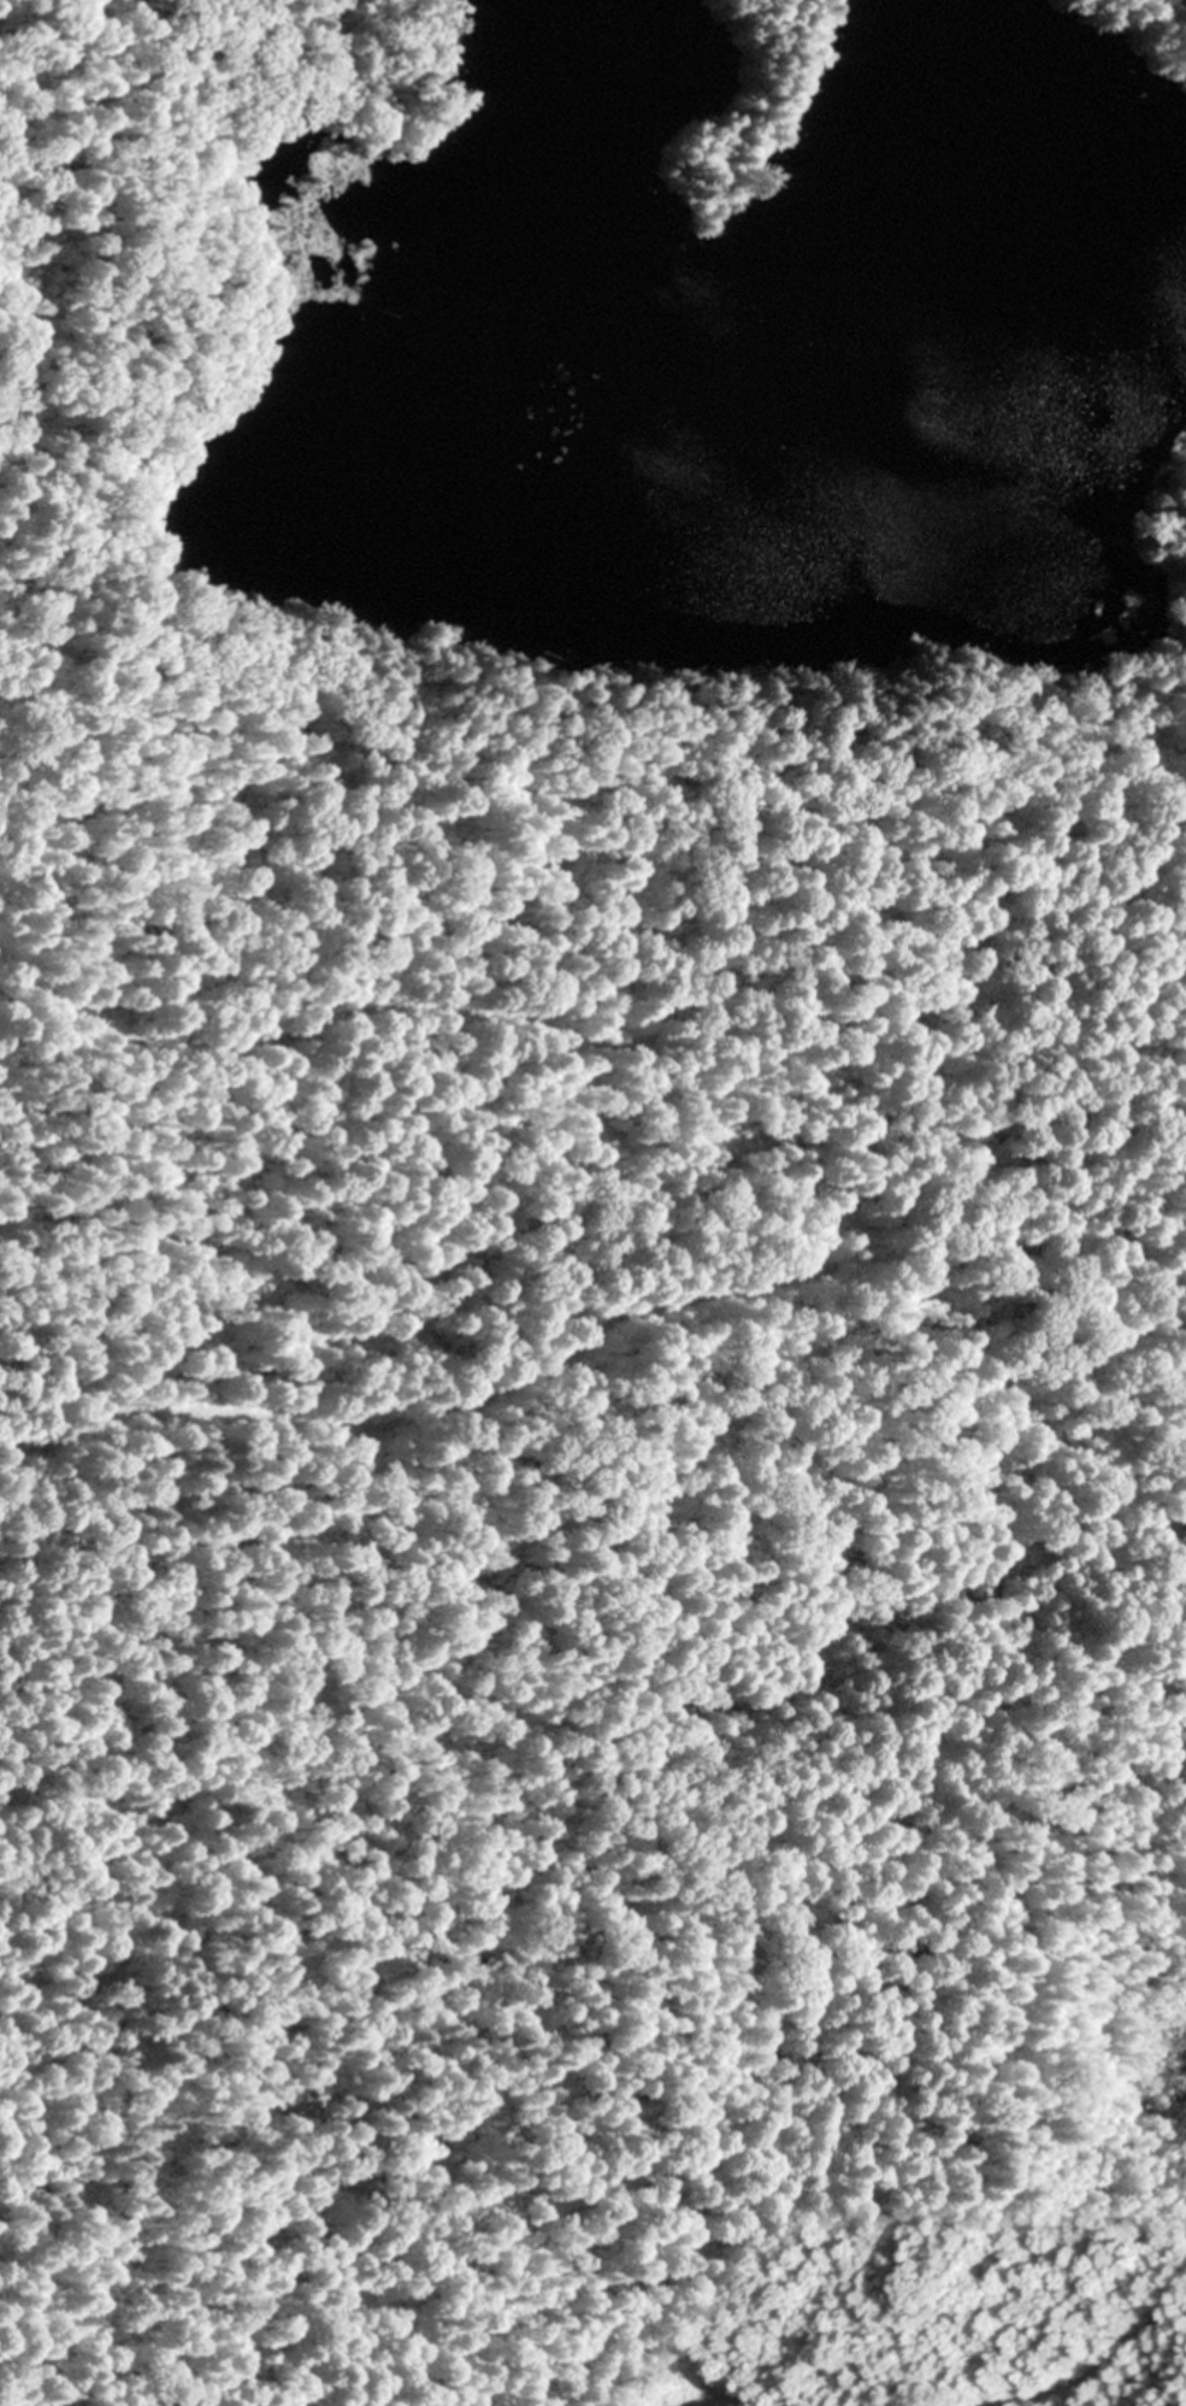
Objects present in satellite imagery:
road: (1182, 577)
road: (288, 657)
road: (644, 1316)
road: (272, 1910)

